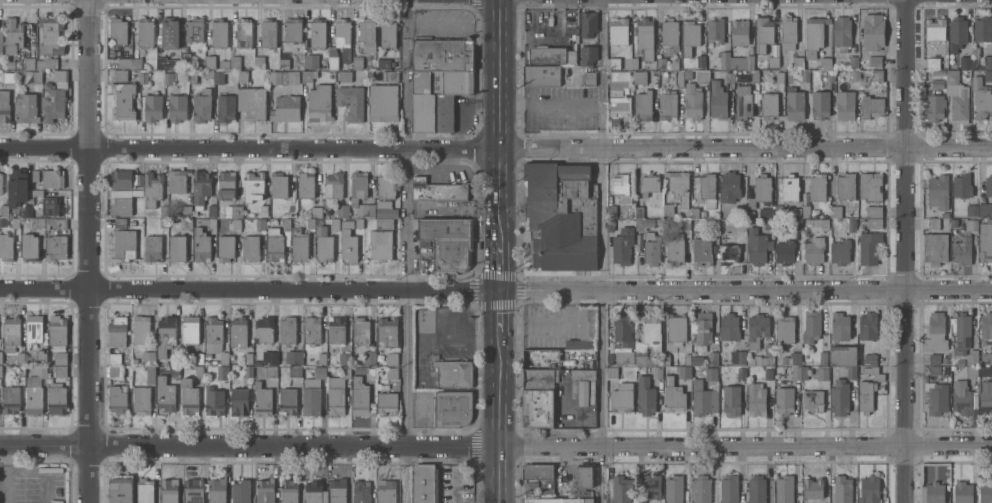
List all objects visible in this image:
building: (570, 16)
building: (588, 23)
building: (935, 28)
building: (118, 29)
building: (194, 29)
building: (292, 29)
building: (715, 29)
building: (982, 29)
building: (618, 31)
building: (669, 31)
building: (145, 32)
building: (219, 32)
building: (244, 32)
building: (268, 32)
building: (739, 32)
building: (788, 32)
building: (873, 32)
building: (317, 33)
building: (366, 33)
building: (763, 33)
building: (842, 33)
building: (957, 33)
building: (170, 34)
building: (388, 34)
building: (50, 35)
building: (814, 35)
building: (13, 36)
building: (690, 36)
building: (645, 37)
building: (109, 40)
building: (0, 43)
building: (340, 43)
building: (443, 54)
building: (548, 54)
building: (587, 54)
building: (186, 59)
building: (701, 60)
building: (210, 61)
building: (235, 61)
building: (735, 61)
building: (853, 61)
building: (874, 61)
building: (259, 62)
building: (284, 62)
building: (309, 62)
building: (358, 62)
building: (772, 62)
building: (798, 62)
building: (934, 62)
building: (966, 62)
building: (28, 63)
building: (51, 63)
building: (124, 63)
building: (136, 63)
building: (165, 63)
building: (225, 63)
building: (384, 63)
building: (615, 63)
building: (634, 63)
building: (825, 63)
building: (986, 63)
building: (10, 64)
building: (677, 65)
building: (207, 74)
building: (687, 74)
building: (120, 75)
building: (309, 75)
building: (541, 75)
building: (805, 75)
building: (827, 75)
building: (855, 75)
building: (876, 75)
building: (988, 75)
building: (33, 76)
building: (242, 76)
building: (345, 76)
building: (389, 76)
building: (701, 76)
building: (728, 76)
building: (779, 76)
building: (8, 77)
building: (144, 77)
building: (218, 77)
building: (279, 77)
building: (640, 77)
building: (754, 77)
building: (168, 78)
building: (192, 78)
building: (588, 78)
building: (655, 78)
building: (679, 78)
building: (788, 78)
building: (938, 82)
building: (618, 94)
building: (54, 97)
building: (958, 97)
building: (437, 98)
building: (981, 98)
building: (718, 100)
building: (123, 101)
building: (693, 101)
building: (252, 102)
building: (351, 102)
building: (383, 102)
building: (743, 102)
building: (319, 103)
building: (794, 103)
building: (820, 104)
building: (202, 105)
building: (643, 105)
building: (668, 105)
building: (769, 105)
building: (845, 105)
building: (4, 106)
building: (152, 107)
building: (177, 107)
building: (225, 107)
building: (872, 107)
building: (935, 107)
building: (26, 108)
building: (286, 108)
road: (496, 120)
road: (496, 149)
building: (555, 171)
building: (35, 175)
building: (52, 178)
building: (121, 179)
building: (139, 179)
building: (177, 179)
building: (678, 182)
building: (0, 183)
building: (305, 183)
building: (648, 183)
building: (278, 184)
building: (226, 185)
building: (333, 185)
building: (962, 185)
building: (989, 185)
building: (17, 186)
building: (201, 186)
building: (253, 186)
building: (386, 186)
building: (729, 186)
building: (846, 186)
building: (870, 186)
building: (790, 187)
building: (817, 187)
building: (152, 188)
building: (621, 188)
building: (939, 188)
building: (708, 189)
building: (438, 190)
building: (760, 190)
building: (38, 192)
building: (137, 192)
building: (360, 193)
building: (120, 202)
building: (52, 205)
building: (291, 208)
building: (668, 209)
building: (972, 209)
building: (985, 209)
building: (3, 210)
building: (27, 210)
building: (185, 210)
building: (211, 210)
building: (233, 210)
building: (263, 210)
building: (316, 210)
building: (342, 210)
building: (611, 210)
building: (783, 210)
building: (10, 211)
building: (164, 211)
building: (739, 211)
building: (805, 211)
building: (837, 211)
building: (873, 211)
building: (387, 212)
building: (630, 212)
building: (639, 212)
building: (695, 212)
building: (658, 221)
building: (15, 222)
building: (37, 222)
building: (57, 222)
building: (119, 222)
building: (132, 222)
building: (874, 222)
building: (163, 223)
building: (185, 223)
building: (209, 223)
building: (234, 223)
building: (260, 223)
building: (310, 223)
building: (359, 223)
building: (384, 223)
road: (602, 223)
building: (644, 223)
building: (769, 223)
building: (824, 223)
building: (934, 223)
building: (286, 224)
building: (335, 224)
building: (562, 224)
building: (796, 224)
building: (610, 225)
building: (686, 225)
building: (852, 225)
building: (972, 225)
building: (781, 226)
building: (348, 241)
building: (986, 241)
building: (448, 243)
building: (124, 244)
building: (274, 244)
building: (324, 244)
building: (381, 244)
building: (201, 245)
building: (299, 245)
building: (622, 245)
building: (757, 245)
building: (30, 246)
building: (6, 247)
building: (56, 247)
building: (251, 247)
building: (868, 247)
building: (152, 248)
building: (177, 248)
building: (226, 248)
building: (935, 248)
building: (675, 249)
road: (86, 251)
road: (407, 251)
building: (651, 251)
building: (785, 251)
building: (814, 251)
building: (840, 251)
road: (904, 251)
building: (962, 251)
building: (701, 252)
building: (729, 254)
road: (498, 265)
road: (496, 290)
traffic signals: (498, 290)
road: (498, 314)
building: (811, 326)
building: (840, 326)
building: (868, 326)
building: (728, 327)
building: (34, 328)
building: (141, 328)
building: (676, 328)
building: (702, 328)
building: (986, 328)
building: (57, 329)
building: (190, 329)
building: (265, 329)
building: (311, 329)
building: (336, 329)
building: (361, 329)
building: (622, 329)
building: (757, 329)
building: (784, 329)
building: (287, 330)
building: (584, 330)
building: (651, 330)
building: (117, 331)
building: (238, 331)
building: (387, 332)
building: (936, 332)
building: (962, 332)
building: (11, 333)
building: (213, 334)
building: (165, 335)
building: (767, 354)
building: (842, 355)
building: (0, 356)
building: (293, 356)
building: (434, 356)
building: (531, 356)
building: (738, 356)
building: (20, 357)
building: (42, 357)
building: (60, 357)
building: (148, 357)
building: (271, 357)
building: (620, 357)
building: (972, 357)
building: (199, 358)
building: (224, 358)
building: (248, 358)
building: (322, 358)
building: (345, 358)
building: (369, 358)
building: (391, 358)
building: (713, 358)
building: (791, 358)
building: (822, 358)
building: (870, 358)
building: (935, 358)
building: (114, 359)
building: (666, 359)
building: (945, 359)
building: (987, 359)
building: (646, 360)
building: (686, 360)
building: (961, 362)
building: (0, 370)
building: (20, 370)
building: (41, 370)
building: (59, 370)
building: (199, 370)
building: (972, 370)
building: (985, 370)
building: (115, 371)
building: (248, 371)
building: (271, 371)
building: (294, 371)
building: (174, 372)
building: (222, 372)
building: (320, 372)
building: (346, 372)
building: (371, 372)
building: (391, 372)
building: (657, 372)
building: (684, 372)
building: (804, 372)
building: (822, 372)
building: (851, 372)
building: (873, 372)
building: (453, 373)
building: (612, 373)
building: (711, 373)
building: (741, 373)
building: (796, 373)
building: (150, 374)
building: (583, 374)
building: (768, 374)
building: (539, 379)
building: (55, 384)
building: (937, 390)
building: (583, 392)
building: (165, 394)
building: (866, 395)
building: (645, 396)
building: (673, 396)
building: (839, 396)
building: (189, 397)
building: (359, 397)
building: (622, 397)
building: (962, 397)
building: (985, 397)
building: (700, 398)
building: (756, 398)
building: (10, 399)
building: (117, 399)
building: (262, 399)
building: (731, 399)
building: (33, 400)
building: (56, 400)
building: (141, 400)
building: (239, 400)
building: (784, 400)
building: (214, 401)
building: (288, 401)
building: (311, 401)
building: (335, 401)
building: (813, 401)
building: (387, 404)
building: (453, 408)
building: (538, 408)
road: (498, 421)
road: (249, 446)
road: (745, 447)
road: (5, 473)
building: (584, 474)
road: (602, 475)
building: (539, 476)
building: (425, 483)
building: (651, 486)
building: (121, 488)
building: (531, 488)
building: (813, 488)
building: (842, 488)
building: (621, 489)
building: (673, 489)
building: (701, 489)
building: (729, 489)
building: (756, 489)
building: (784, 489)
building: (144, 490)
building: (169, 490)
building: (217, 490)
building: (869, 490)
building: (193, 491)
building: (241, 491)
building: (264, 491)
building: (288, 491)
building: (337, 491)
building: (385, 491)
building: (985, 491)
building: (314, 492)
building: (360, 492)
building: (935, 492)
building: (963, 492)
road: (44, 493)
building: (586, 494)
building: (557, 500)

